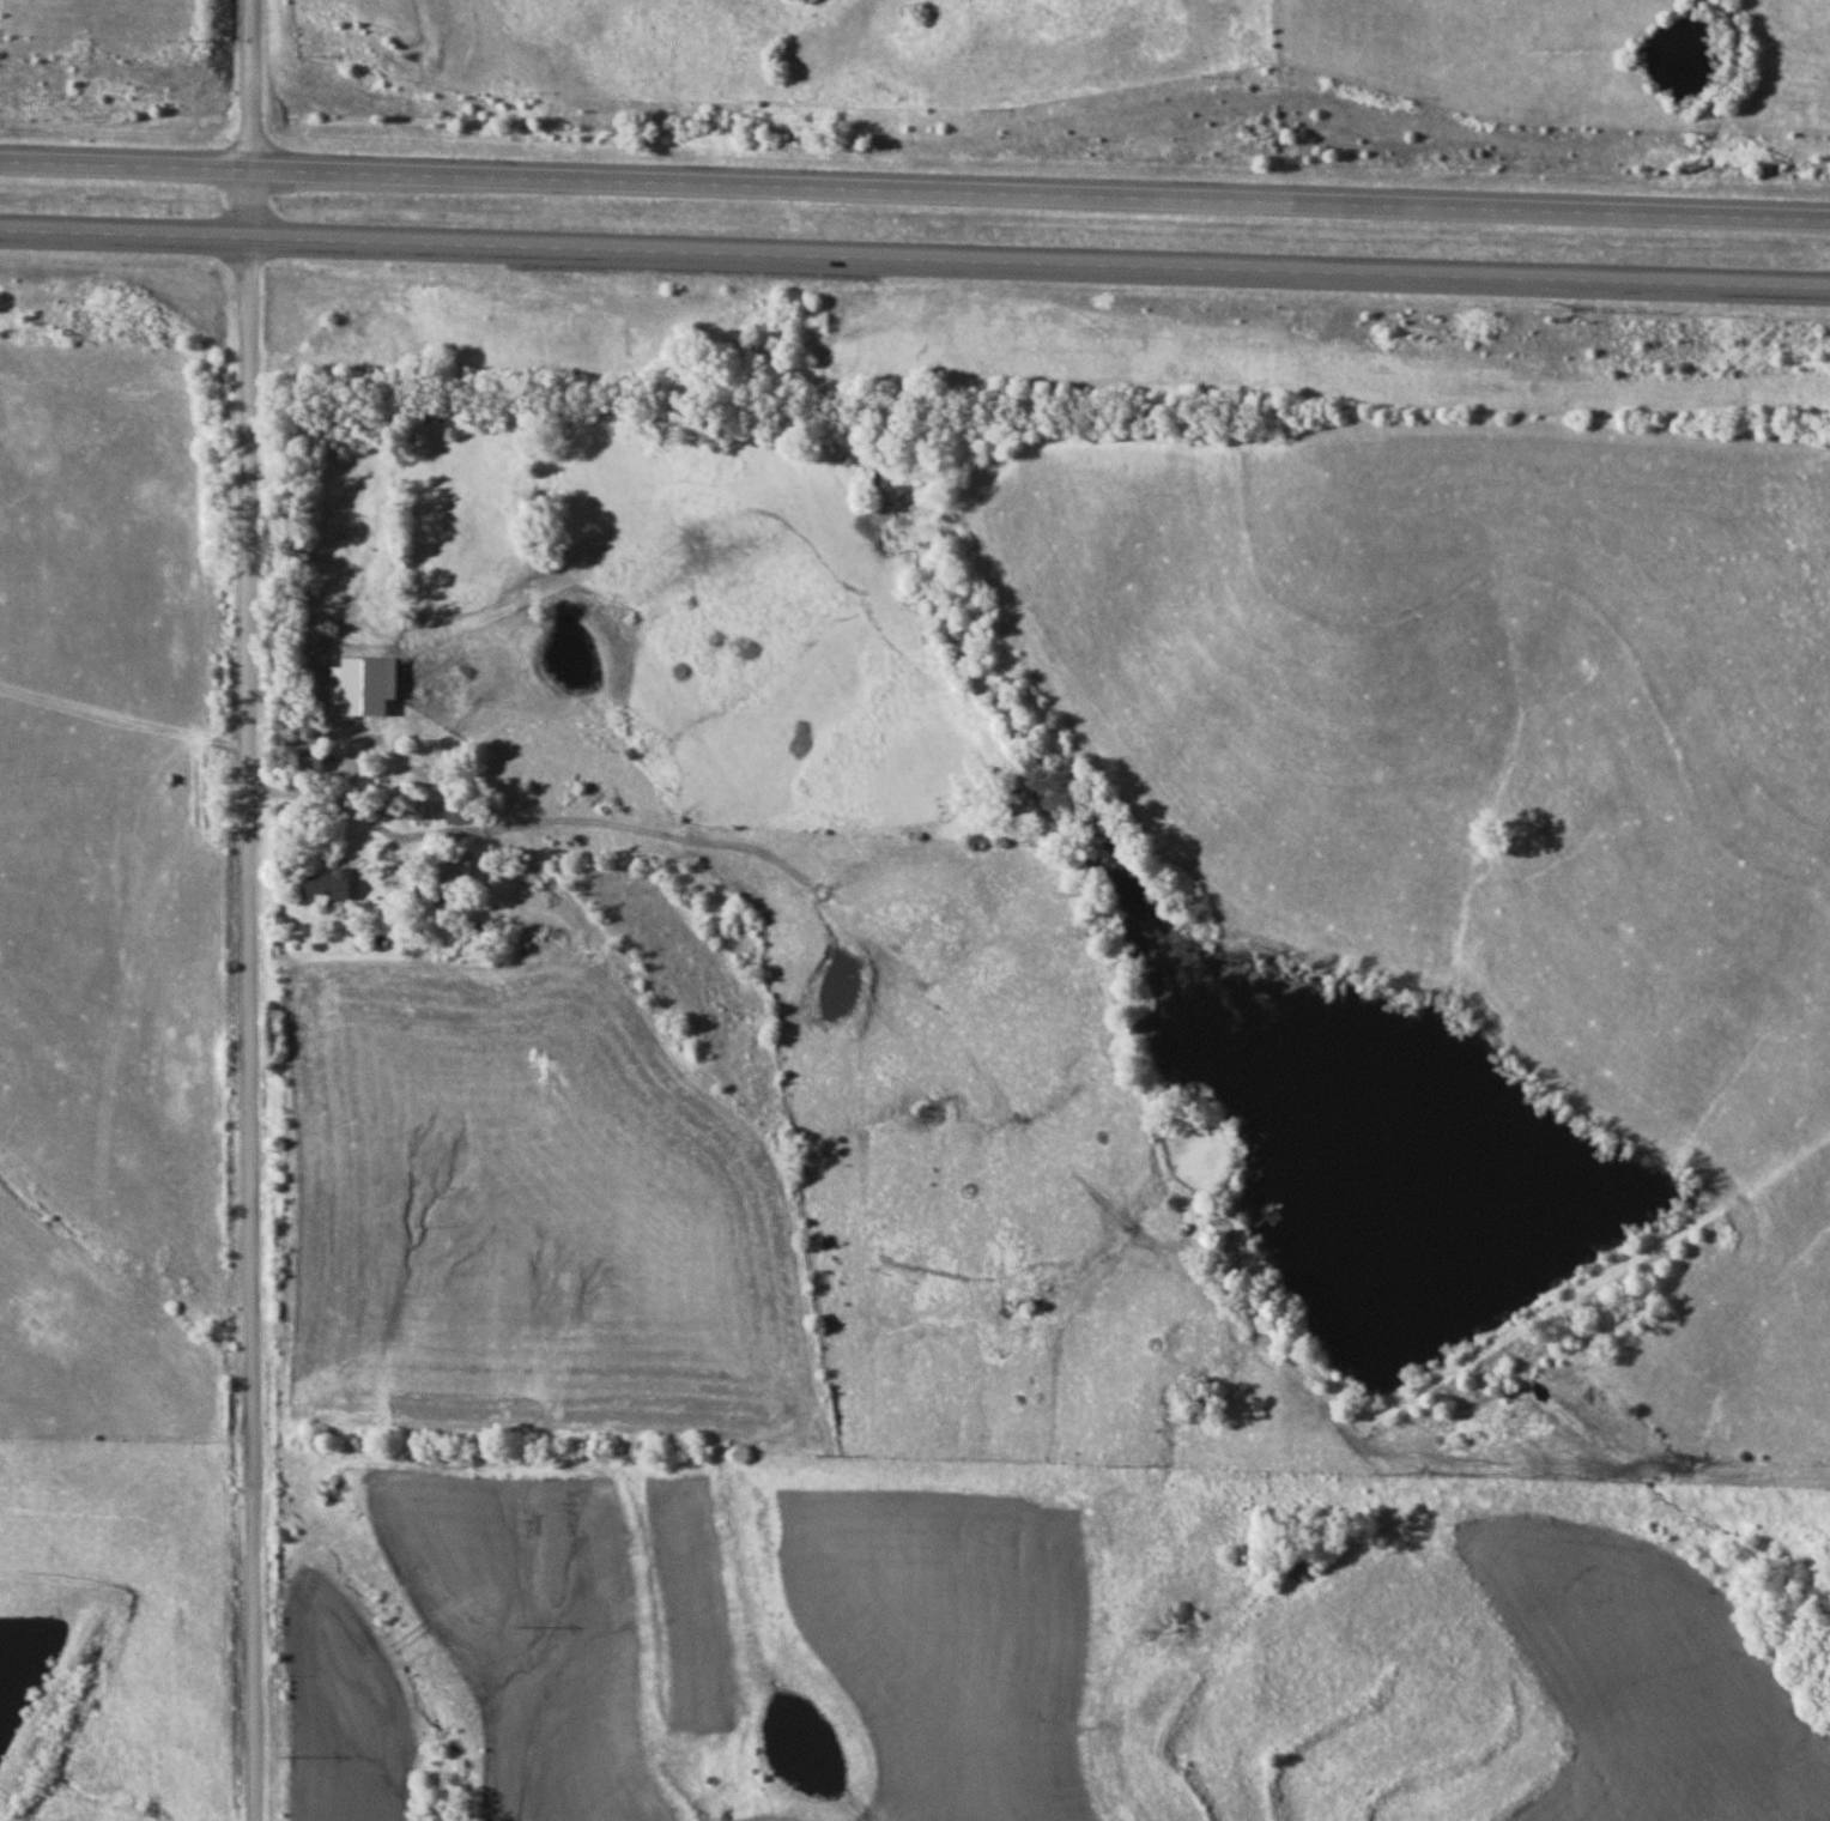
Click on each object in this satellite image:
road: (915, 188)
road: (915, 256)
building: (375, 642)
building: (316, 758)
building: (422, 810)
building: (465, 812)
building: (455, 870)
building: (335, 885)
road: (248, 909)

